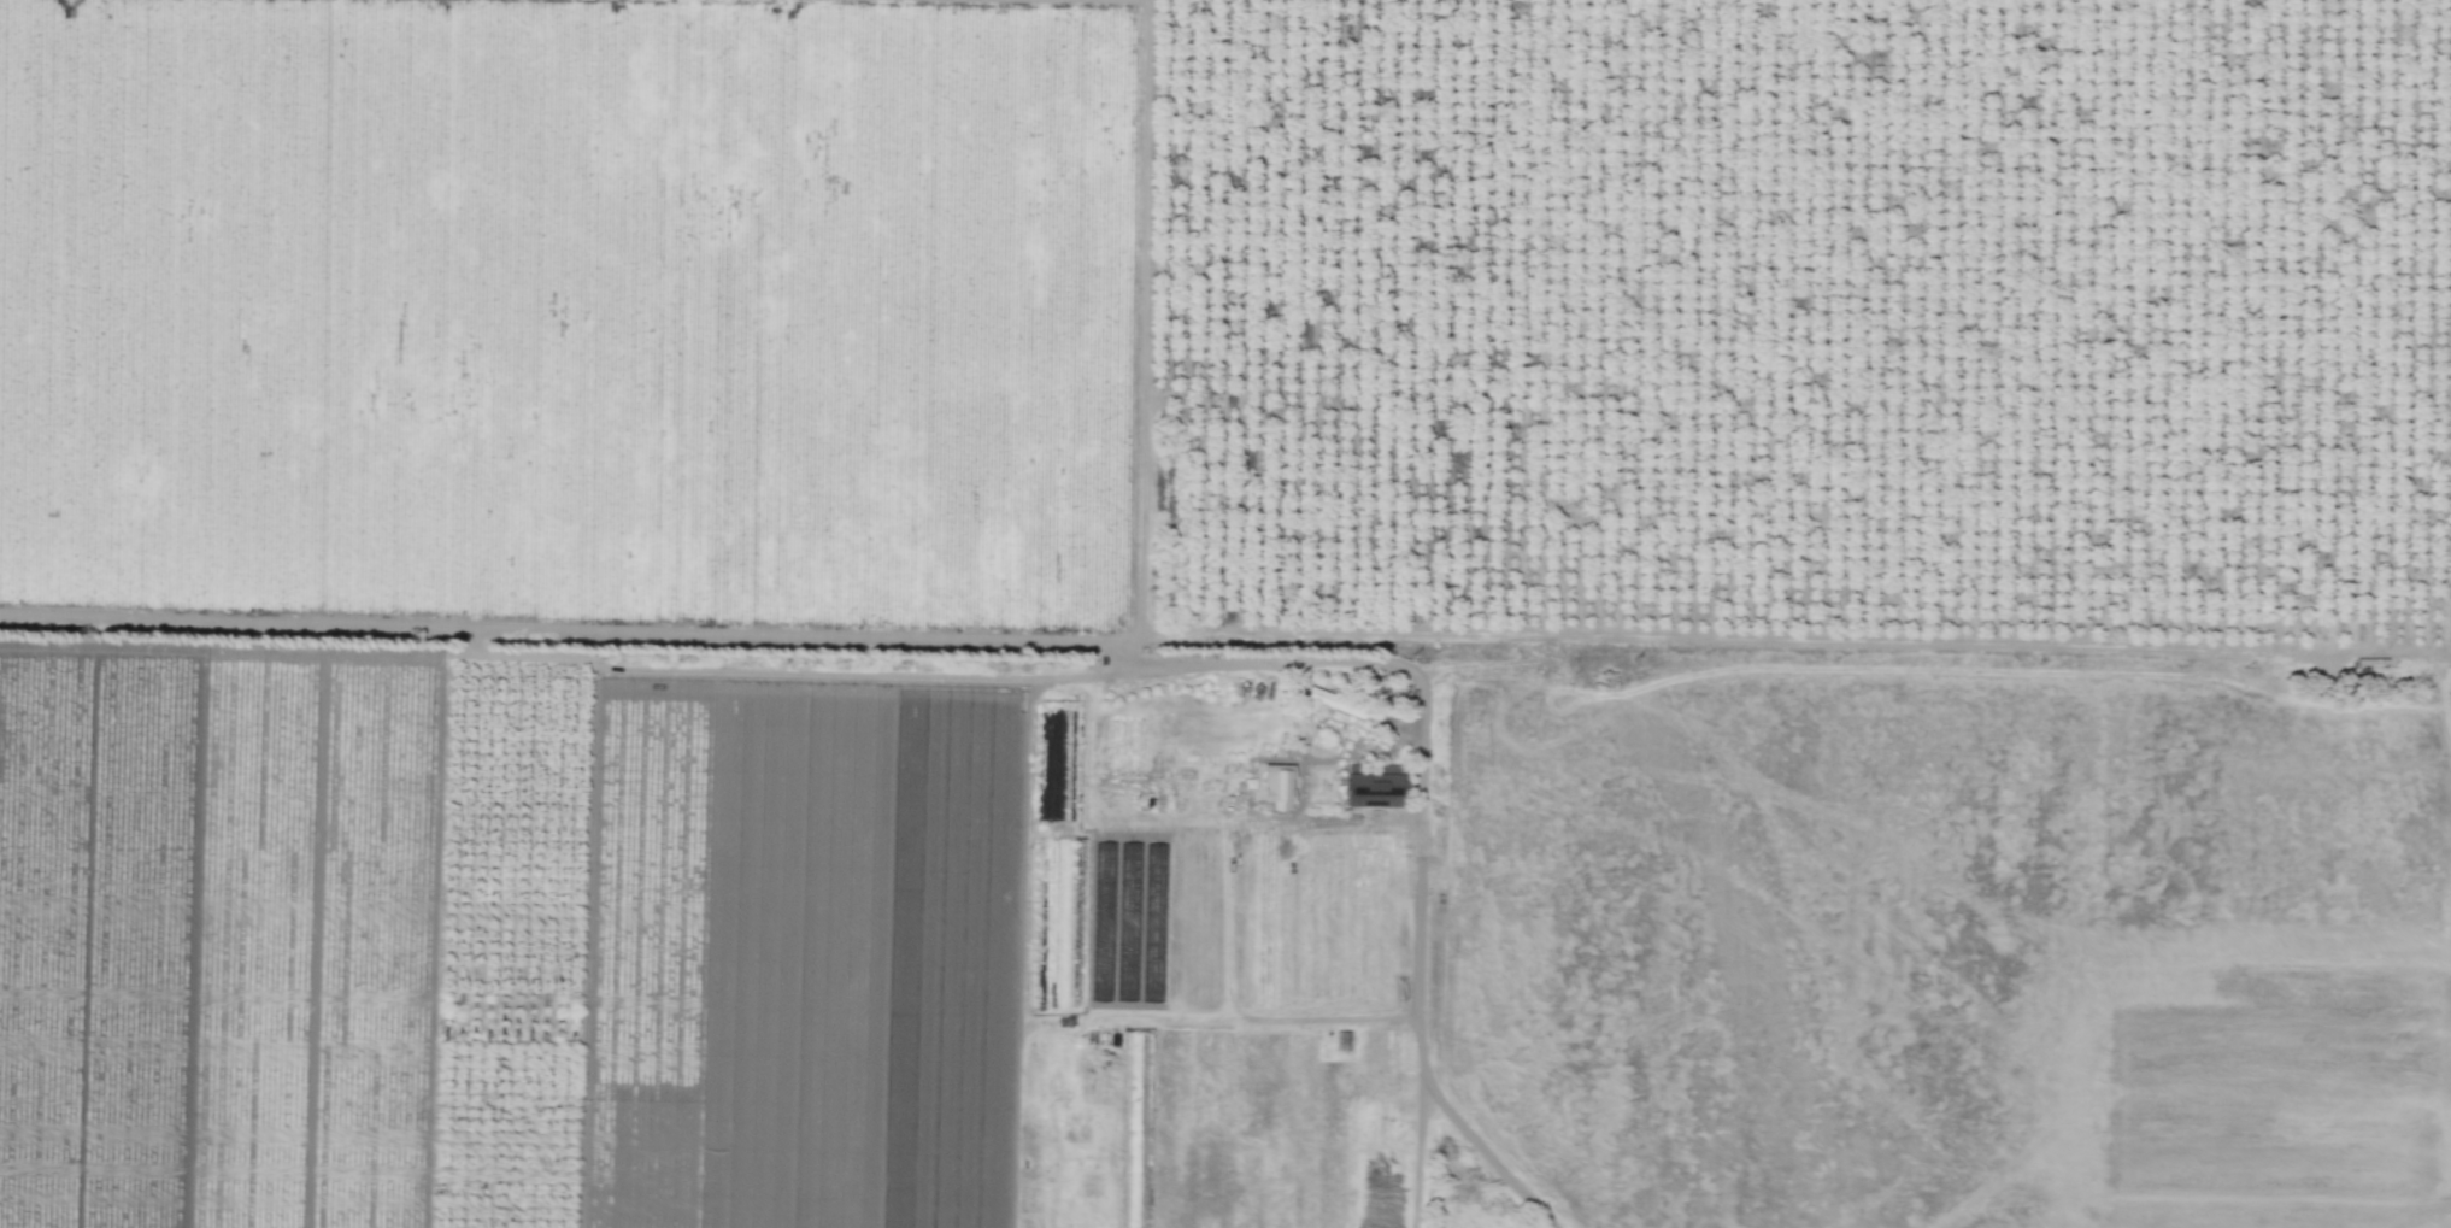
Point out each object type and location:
road: (1224, 657)
building: (1326, 698)
building: (1373, 785)
road: (1417, 968)
road: (1417, 1156)

